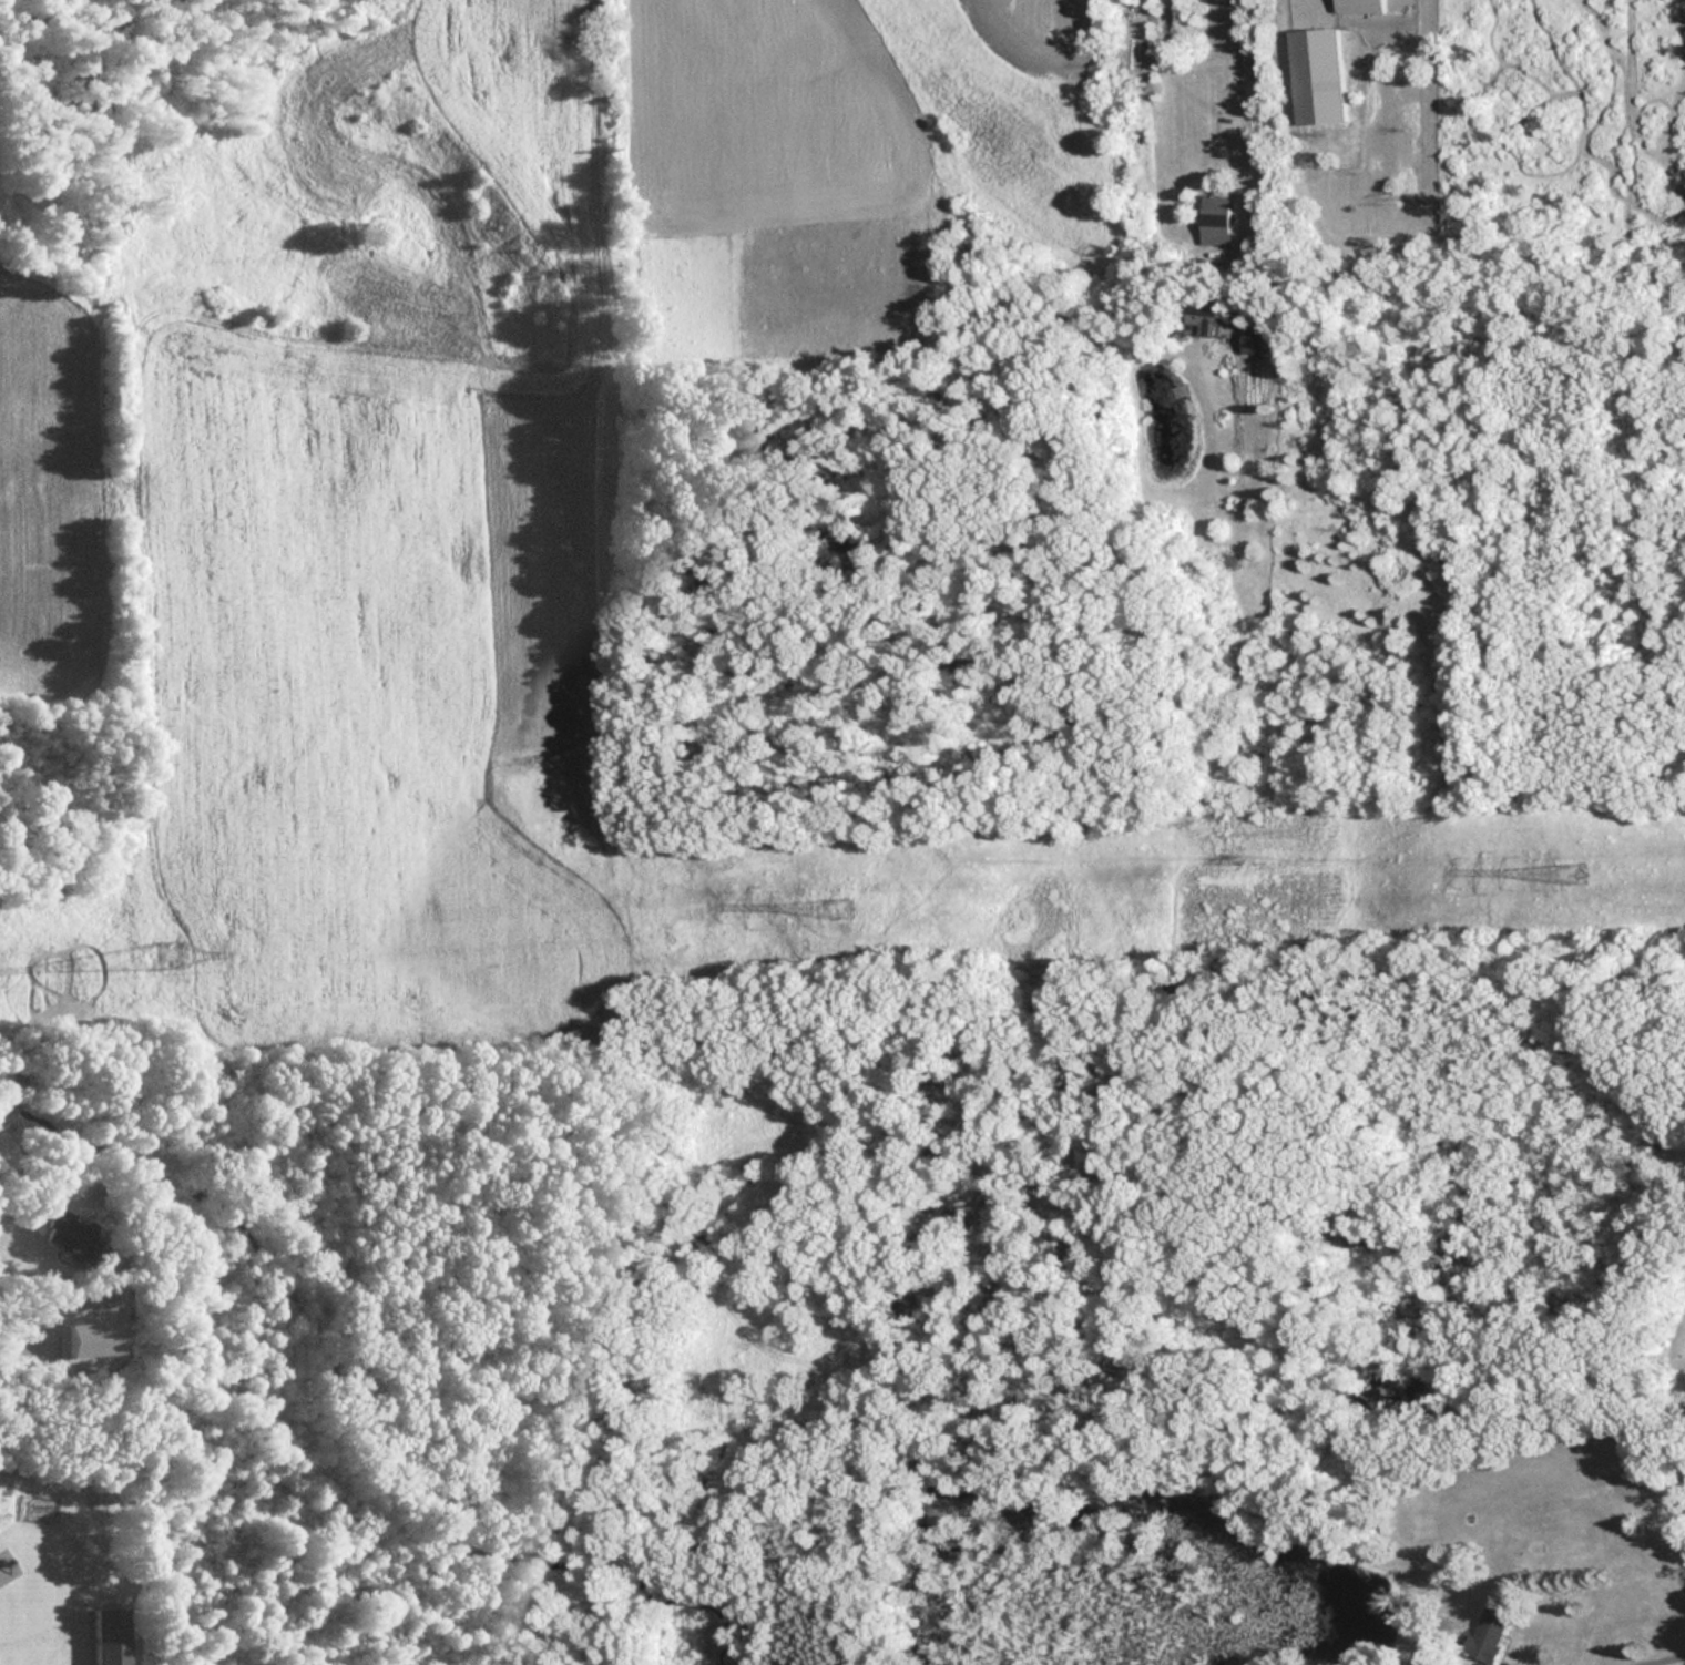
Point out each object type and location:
road: (1238, 166)
building: (1219, 215)
building: (1212, 315)
building: (1257, 340)
power tower: (1580, 871)
power tower: (842, 910)
power tower: (168, 953)
building: (70, 1238)
road: (39, 1309)
road: (1678, 1502)
building: (1484, 1635)
building: (112, 1637)
road: (1656, 1661)

